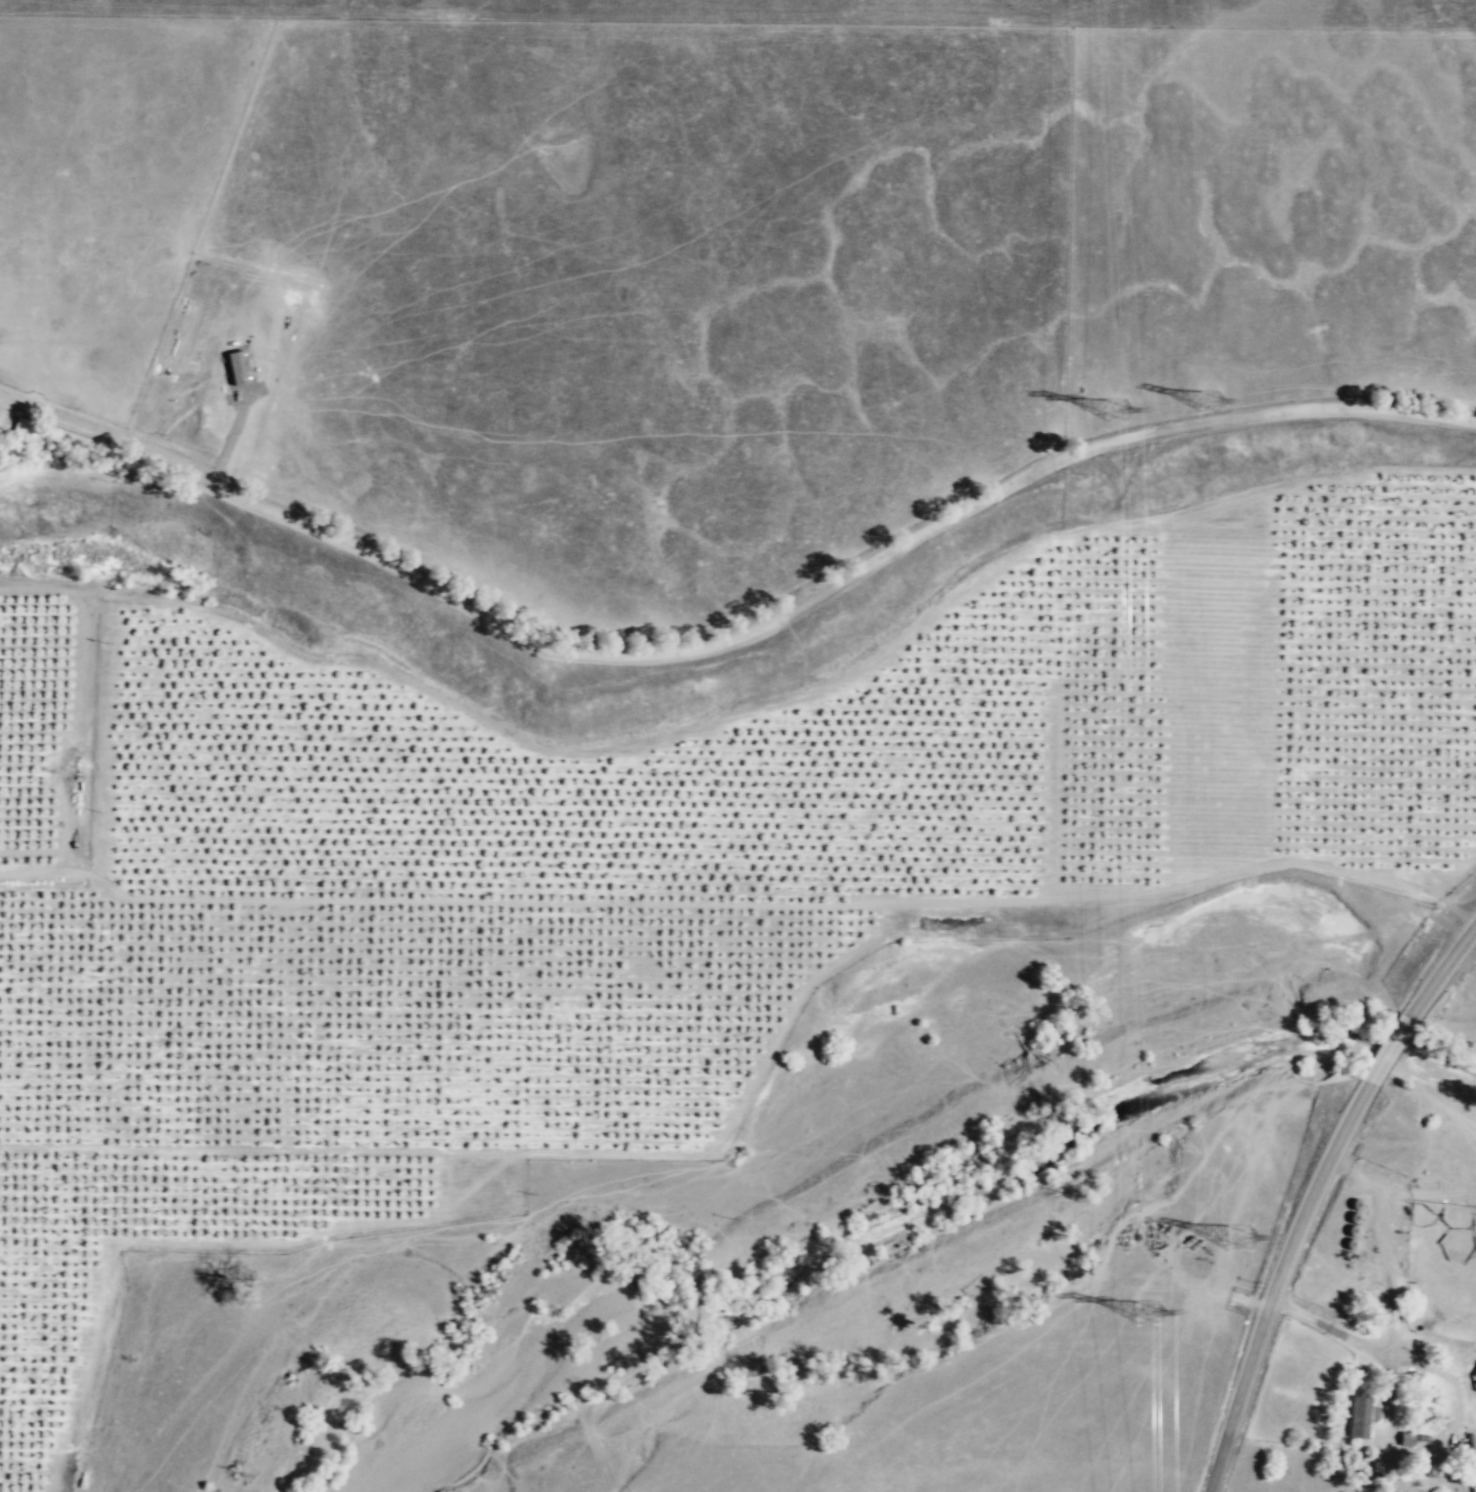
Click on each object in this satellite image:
power tower: (1204, 398)
power tower: (1108, 408)
road: (230, 435)
road: (733, 638)
road: (743, 904)
road: (1442, 971)
river: (1390, 1048)
road: (1389, 1050)
river: (1437, 1064)
road: (1398, 1192)
power tower: (1241, 1232)
river: (870, 1239)
road: (1390, 1272)
road: (1277, 1282)
power tower: (1150, 1315)
road: (1430, 1318)
road: (1329, 1327)
road: (1007, 1349)
building: (1474, 1381)
building: (1359, 1418)
road: (1444, 1450)
building: (1474, 1453)

